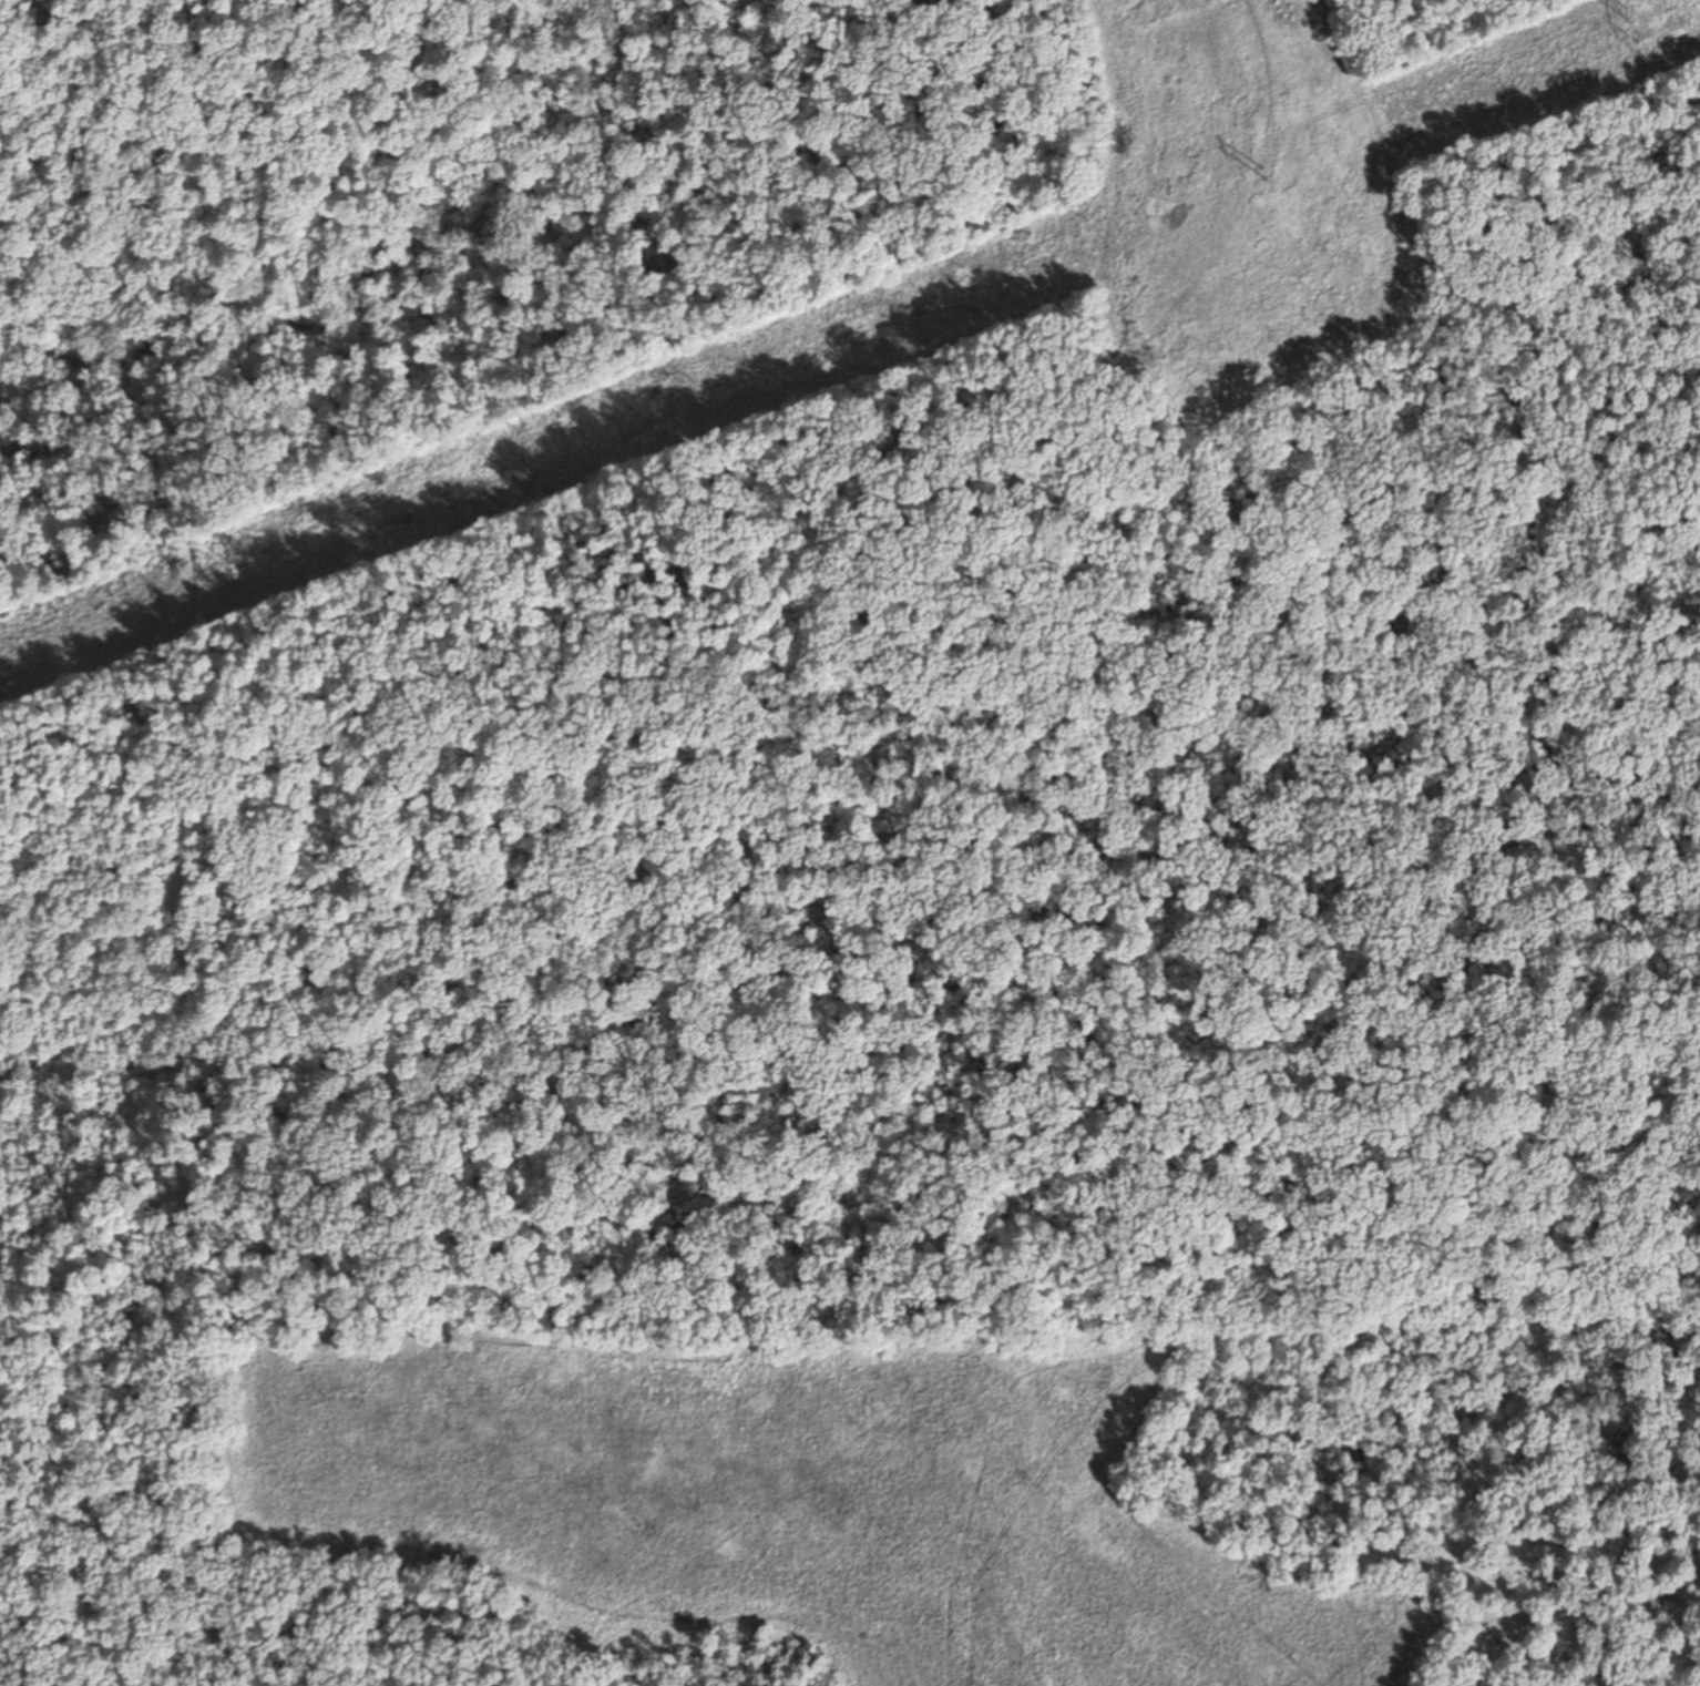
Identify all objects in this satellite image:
power tower: (1630, 32)
power tower: (1259, 175)
power tower: (703, 388)
power tower: (229, 569)

